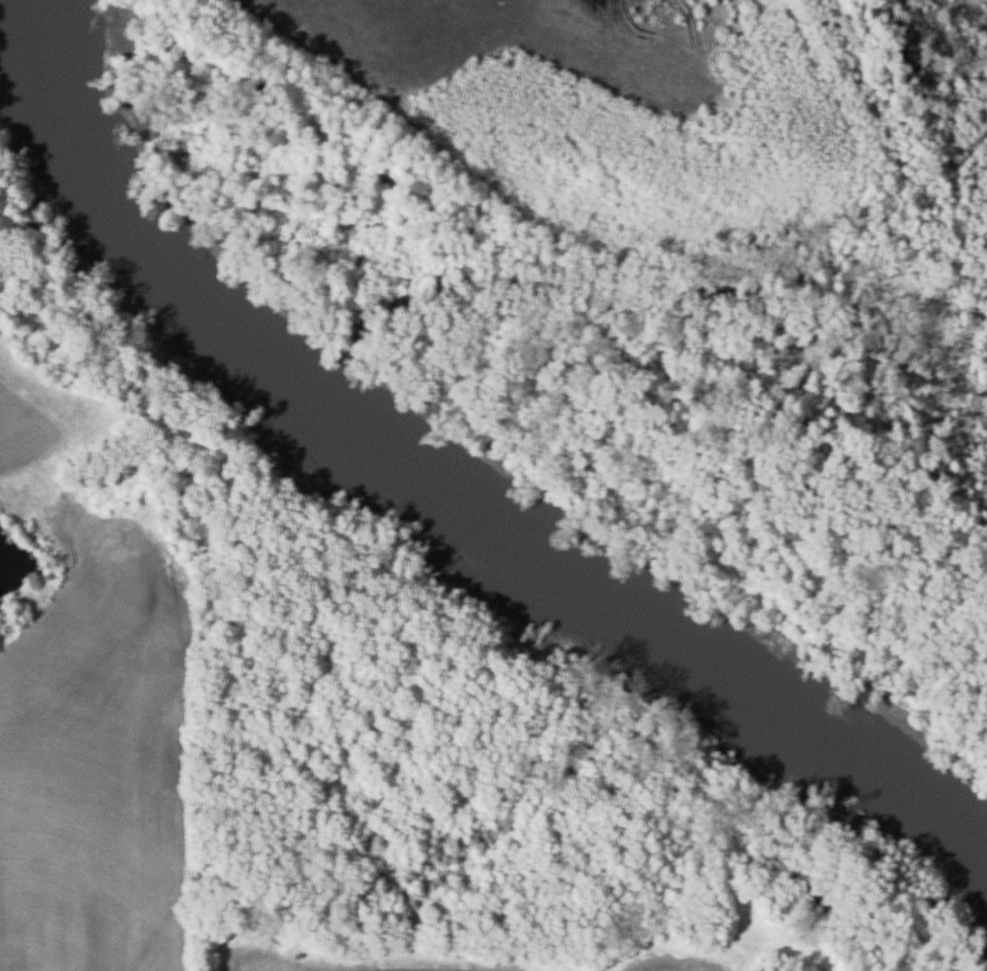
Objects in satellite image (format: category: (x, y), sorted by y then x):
river: (463, 507)

